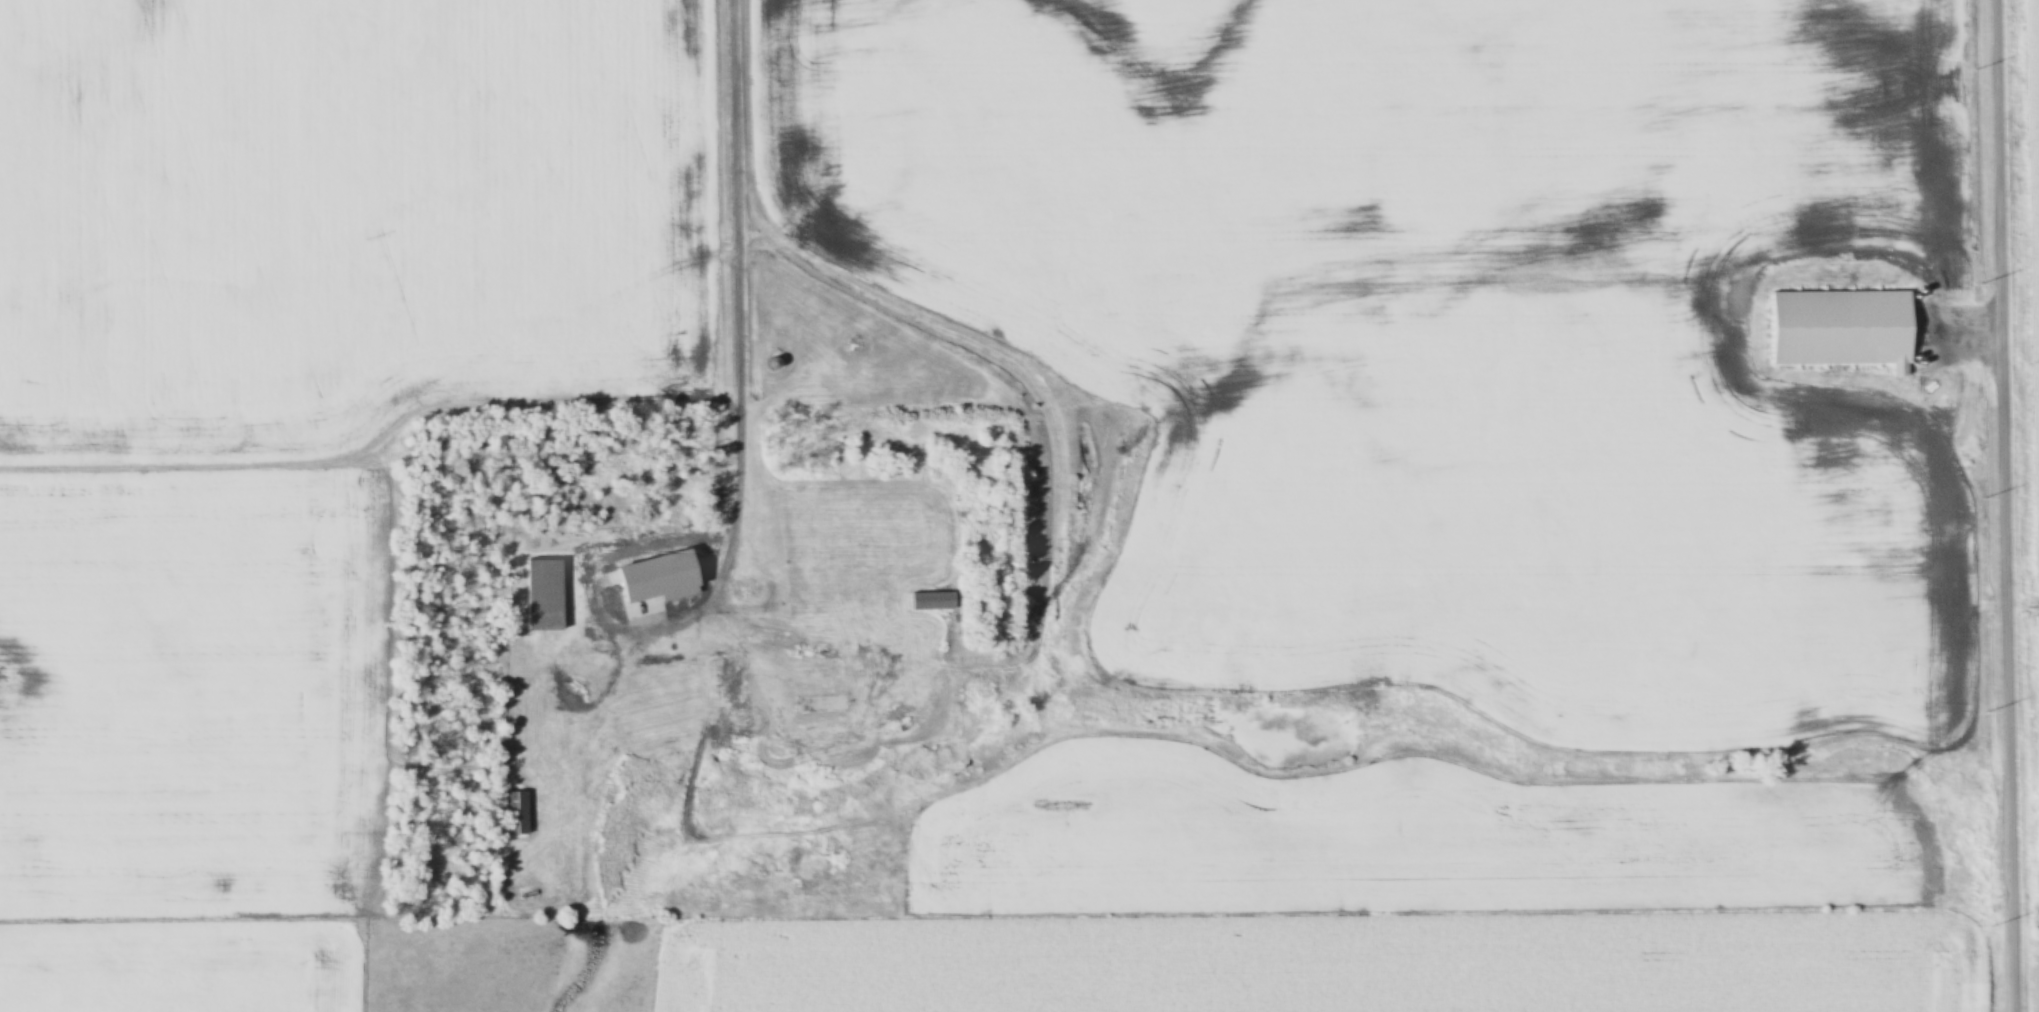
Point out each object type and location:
road: (736, 296)
building: (776, 499)
road: (2003, 505)
building: (657, 575)
building: (745, 591)
building: (544, 597)
building: (932, 602)
building: (820, 690)
building: (540, 734)
building: (516, 815)

